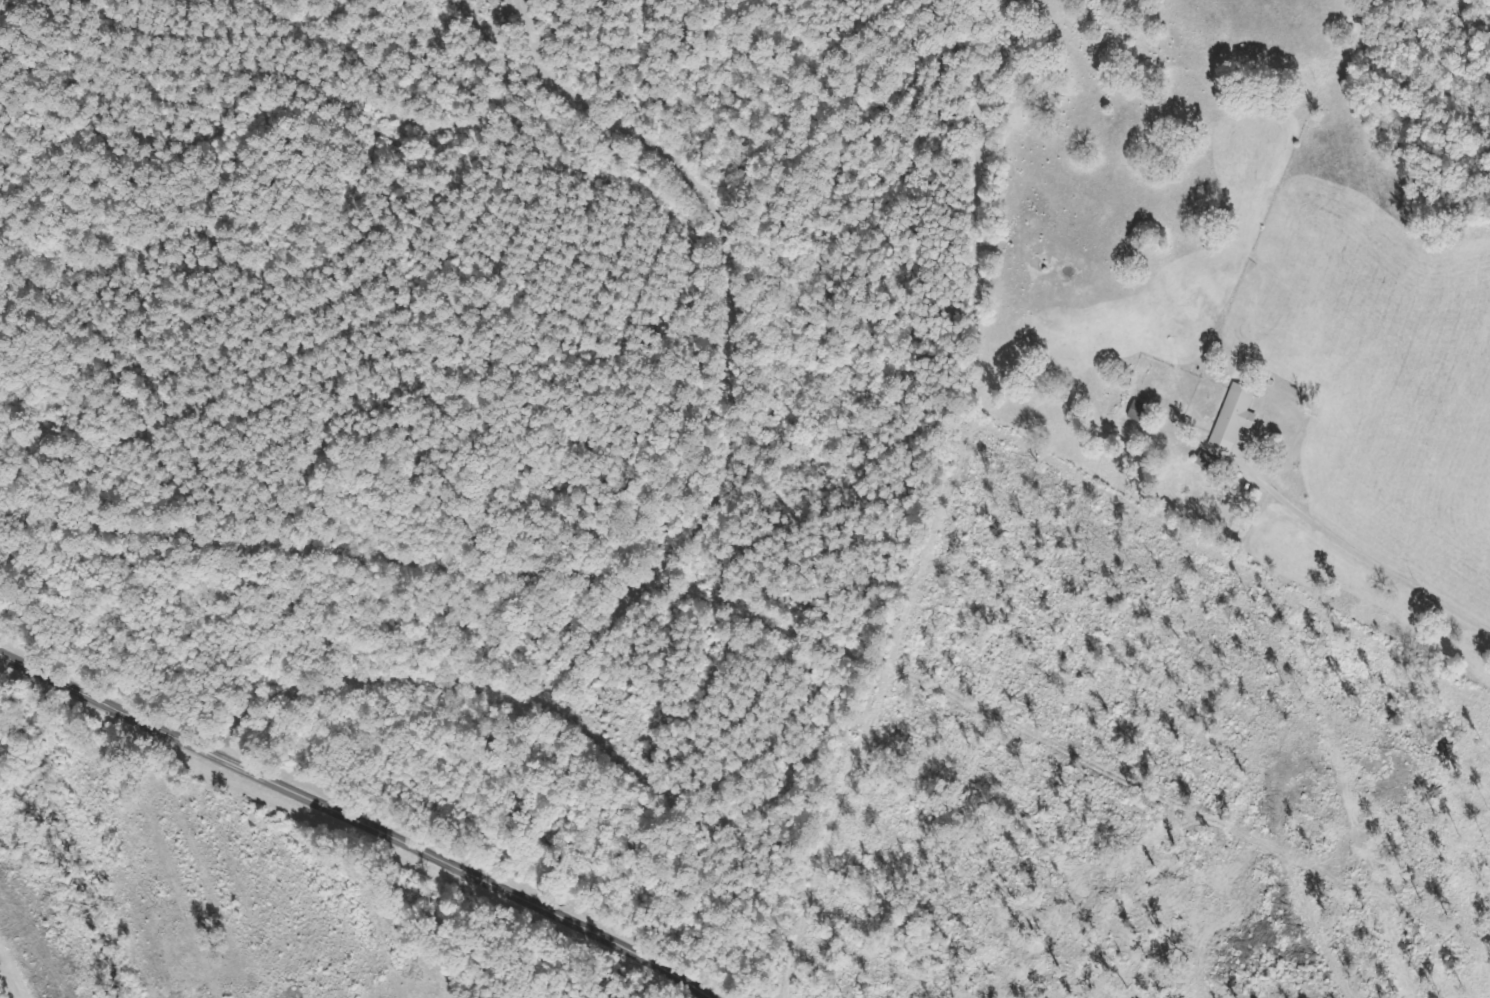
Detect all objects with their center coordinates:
building: (1230, 420)
building: (1207, 466)
road: (904, 608)
road: (355, 826)

